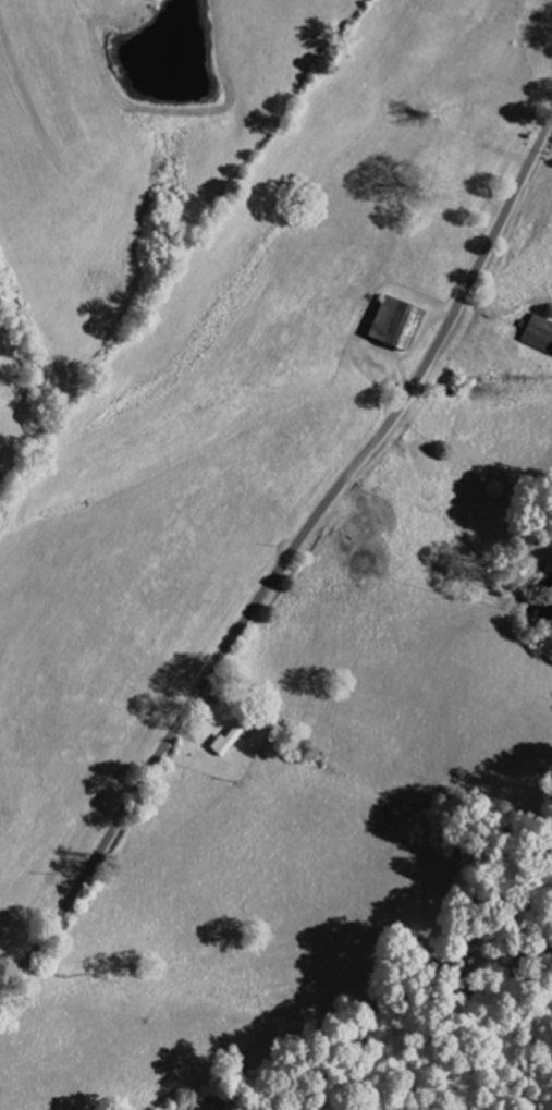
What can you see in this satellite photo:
building: (394, 322)
building: (540, 334)
road: (286, 560)
building: (228, 743)

